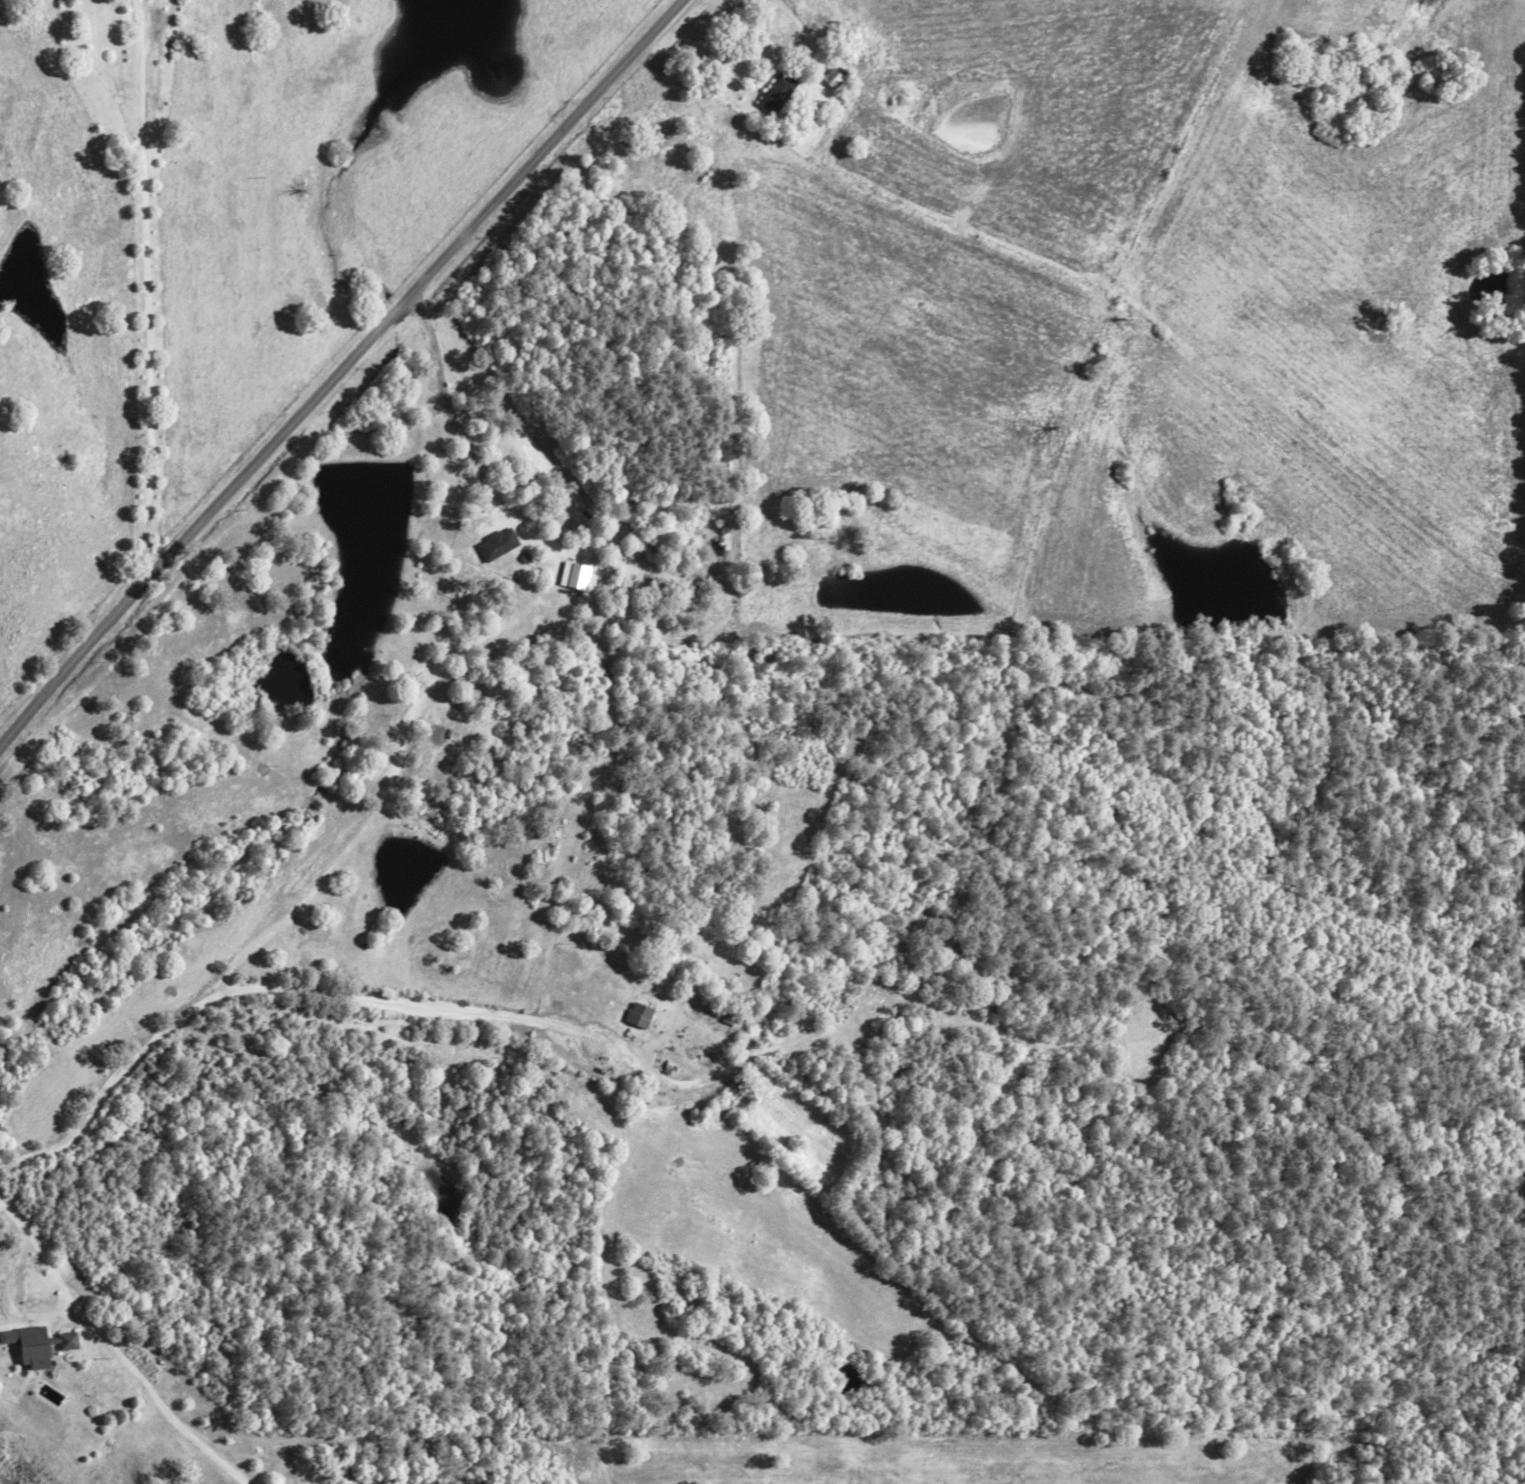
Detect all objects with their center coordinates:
building: (774, 94)
road: (340, 370)
road: (471, 453)
road: (282, 989)
building: (637, 1015)
building: (64, 1340)
building: (28, 1346)
road: (115, 1348)

